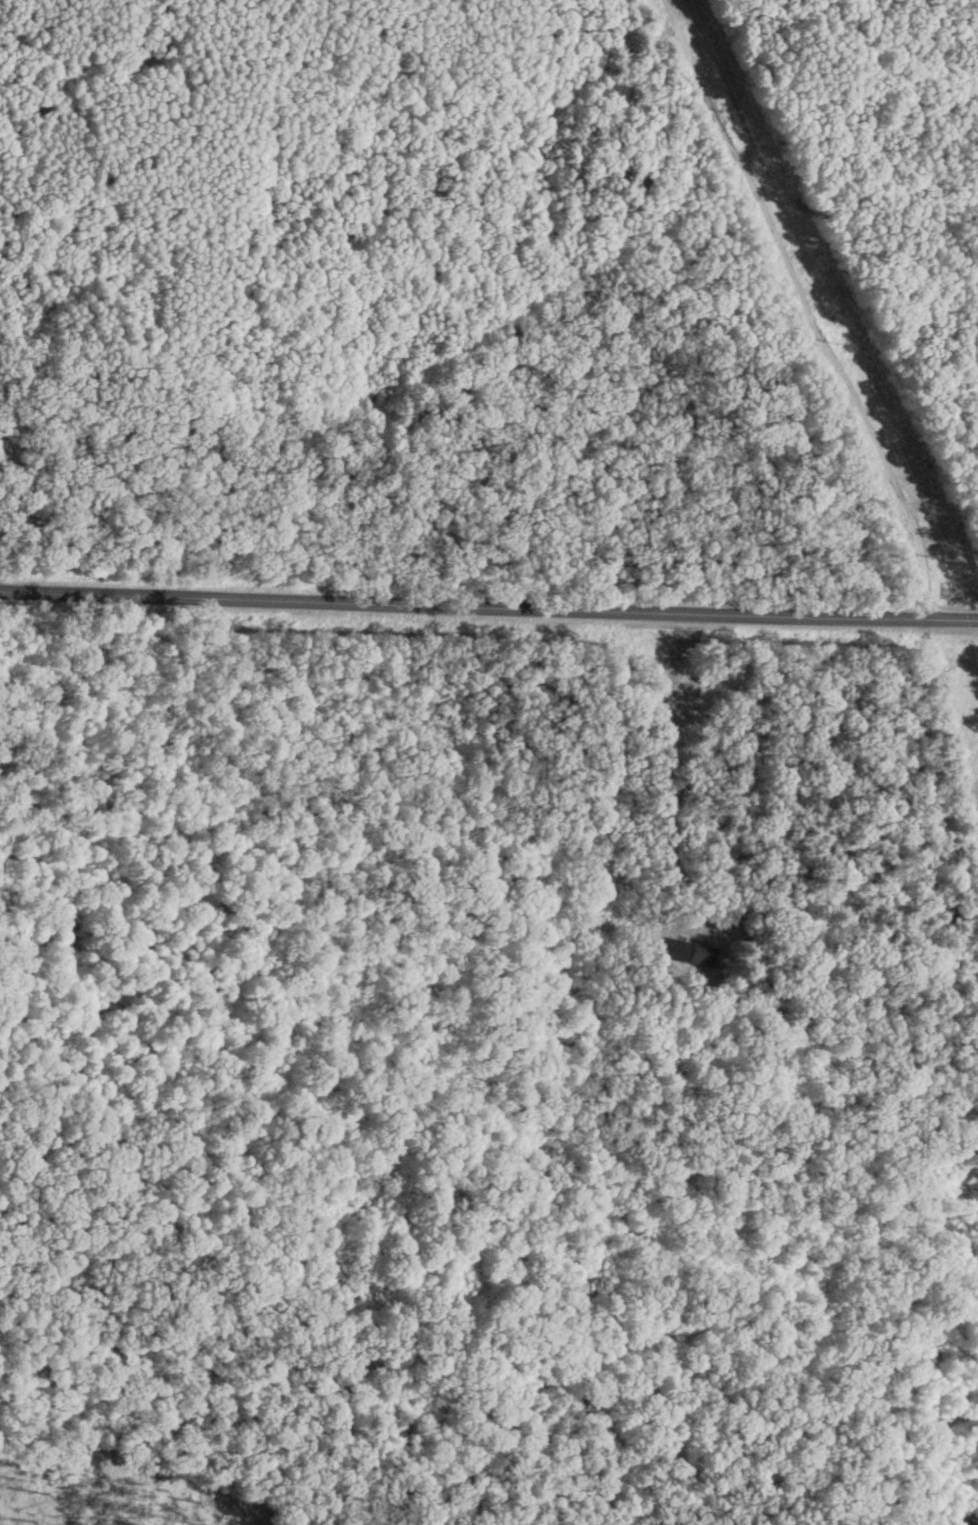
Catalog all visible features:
road: (234, 64)
road: (64, 179)
road: (799, 302)
road: (488, 598)
building: (685, 950)

